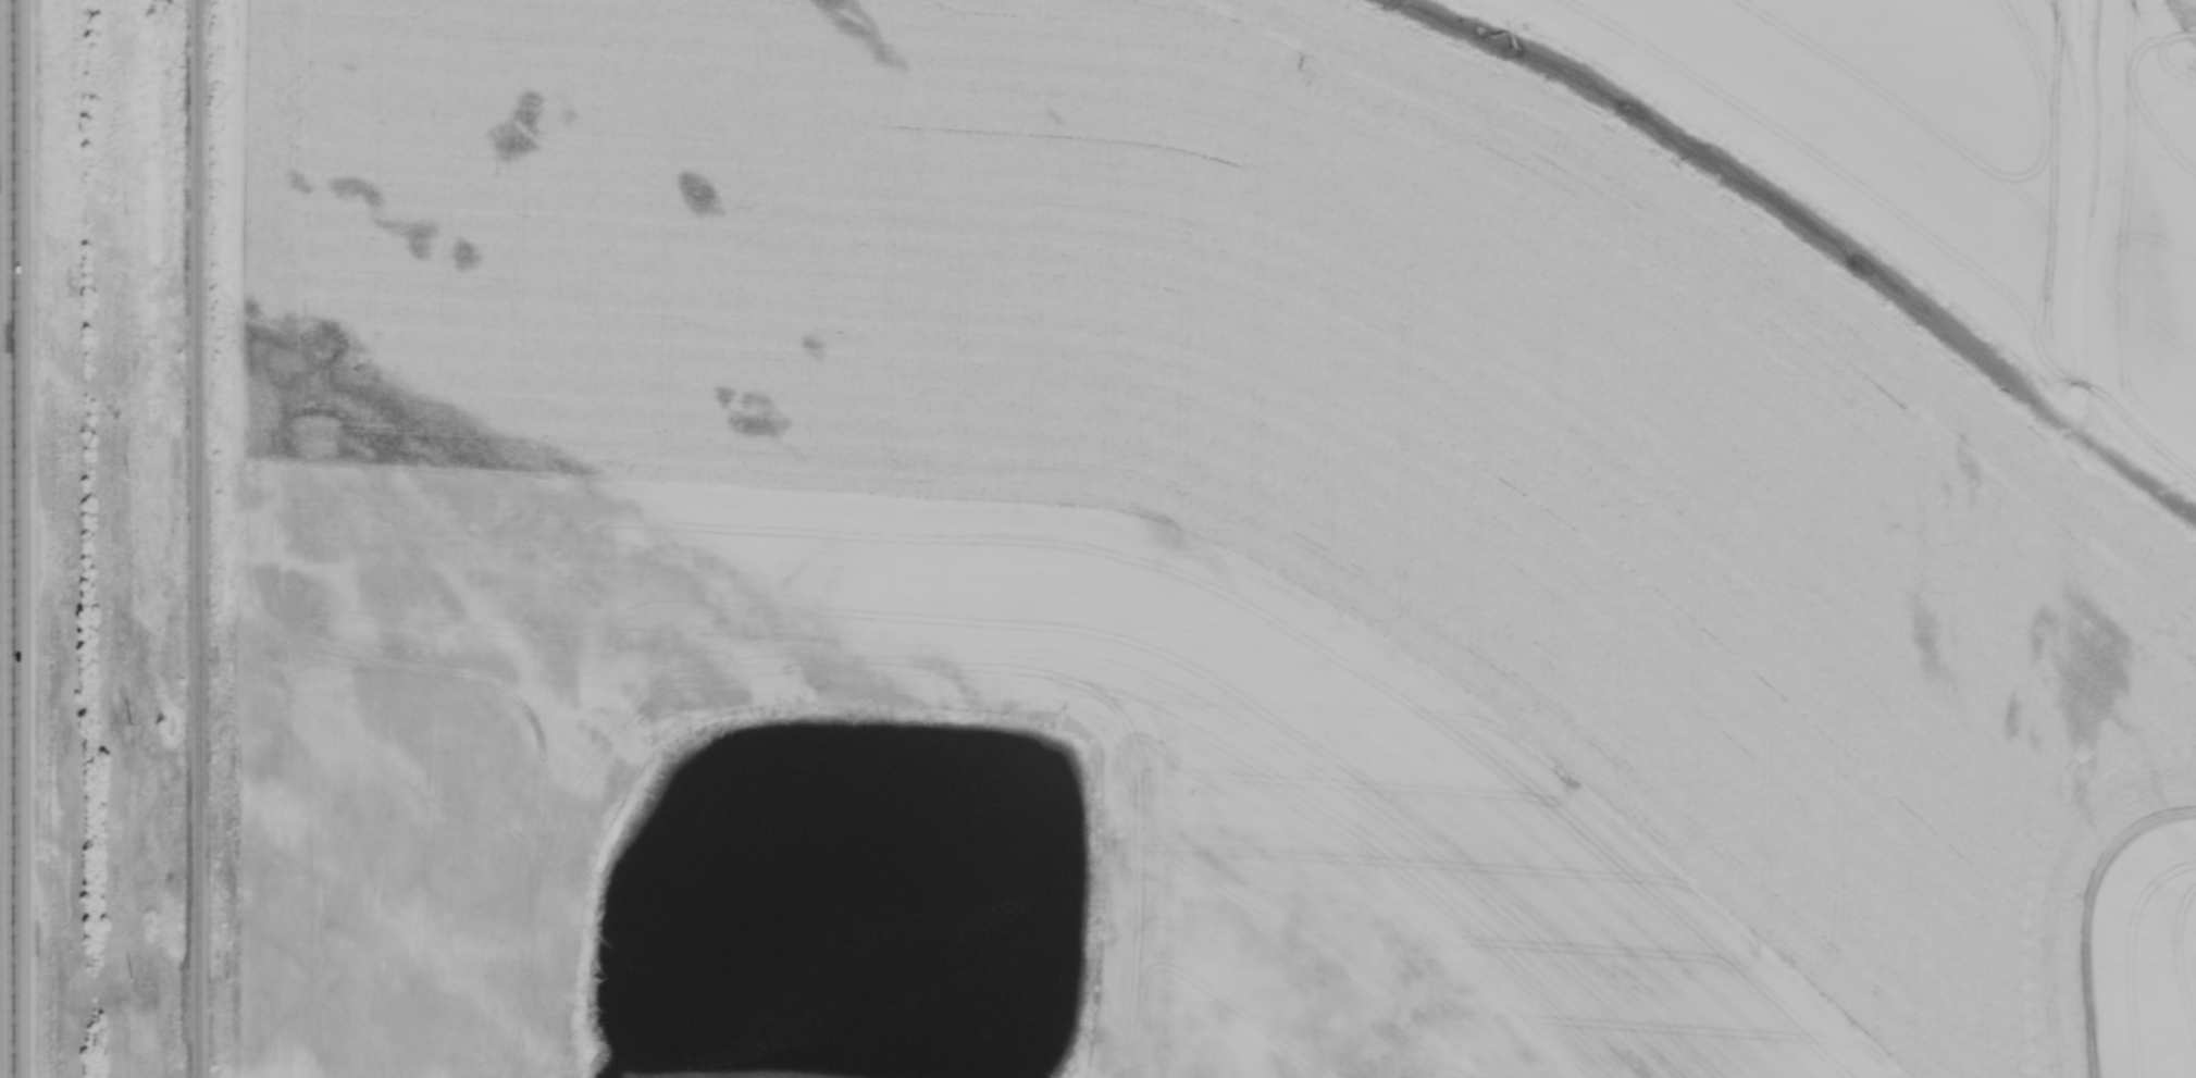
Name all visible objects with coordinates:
road: (13, 538)
railway: (198, 538)
road: (2087, 913)

